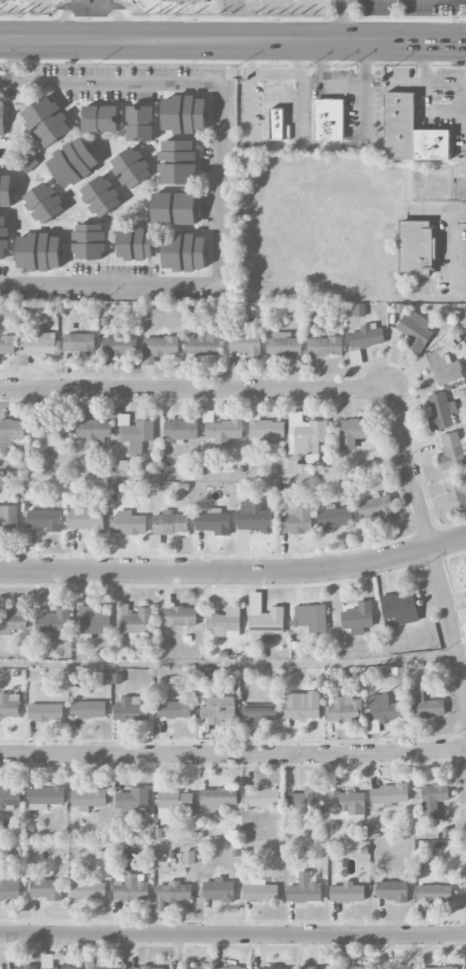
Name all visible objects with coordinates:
building: (10, 1)
building: (187, 2)
road: (343, 20)
road: (233, 40)
road: (14, 59)
road: (296, 59)
road: (322, 60)
road: (307, 78)
road: (6, 79)
road: (421, 95)
building: (184, 113)
building: (100, 118)
building: (2, 119)
building: (330, 119)
building: (46, 122)
building: (140, 123)
building: (276, 124)
building: (410, 131)
road: (305, 146)
building: (27, 162)
building: (73, 162)
building: (178, 162)
building: (132, 167)
road: (221, 189)
building: (6, 190)
building: (101, 195)
building: (45, 202)
building: (174, 208)
building: (4, 237)
building: (90, 241)
building: (136, 243)
building: (418, 248)
road: (453, 249)
building: (39, 251)
building: (185, 251)
building: (360, 310)
building: (416, 331)
building: (364, 340)
building: (204, 342)
building: (80, 343)
building: (245, 343)
building: (7, 345)
building: (36, 345)
building: (119, 345)
building: (284, 345)
building: (325, 346)
building: (463, 347)
building: (159, 348)
building: (440, 366)
road: (195, 390)
building: (441, 412)
building: (50, 429)
building: (94, 429)
building: (181, 430)
building: (267, 430)
building: (136, 431)
building: (221, 431)
building: (11, 432)
building: (353, 433)
building: (306, 436)
building: (452, 451)
building: (295, 466)
building: (457, 494)
building: (375, 507)
building: (254, 517)
building: (334, 517)
building: (8, 519)
building: (86, 519)
building: (45, 520)
building: (297, 520)
building: (213, 522)
building: (128, 523)
building: (170, 523)
building: (155, 540)
road: (430, 541)
road: (235, 572)
building: (399, 609)
building: (178, 615)
building: (14, 618)
building: (311, 618)
building: (358, 618)
building: (94, 621)
building: (136, 621)
building: (54, 623)
building: (225, 623)
building: (268, 624)
building: (228, 691)
building: (10, 705)
building: (302, 705)
building: (424, 705)
building: (88, 709)
building: (174, 709)
building: (215, 709)
building: (131, 710)
building: (345, 710)
building: (383, 711)
building: (45, 712)
building: (259, 713)
road: (233, 754)
building: (390, 795)
building: (10, 797)
building: (45, 797)
building: (88, 798)
building: (218, 798)
building: (262, 798)
building: (133, 799)
building: (307, 800)
building: (433, 801)
building: (175, 805)
building: (347, 805)
building: (9, 887)
building: (47, 889)
building: (87, 889)
building: (131, 890)
building: (218, 890)
building: (304, 890)
building: (392, 891)
building: (260, 892)
building: (173, 893)
building: (347, 893)
building: (434, 893)
road: (233, 934)
building: (348, 962)
building: (106, 967)
building: (146, 967)
building: (231, 967)
building: (409, 967)
building: (20, 968)
building: (61, 968)
building: (190, 968)
building: (274, 968)
building: (316, 968)
building: (439, 968)

